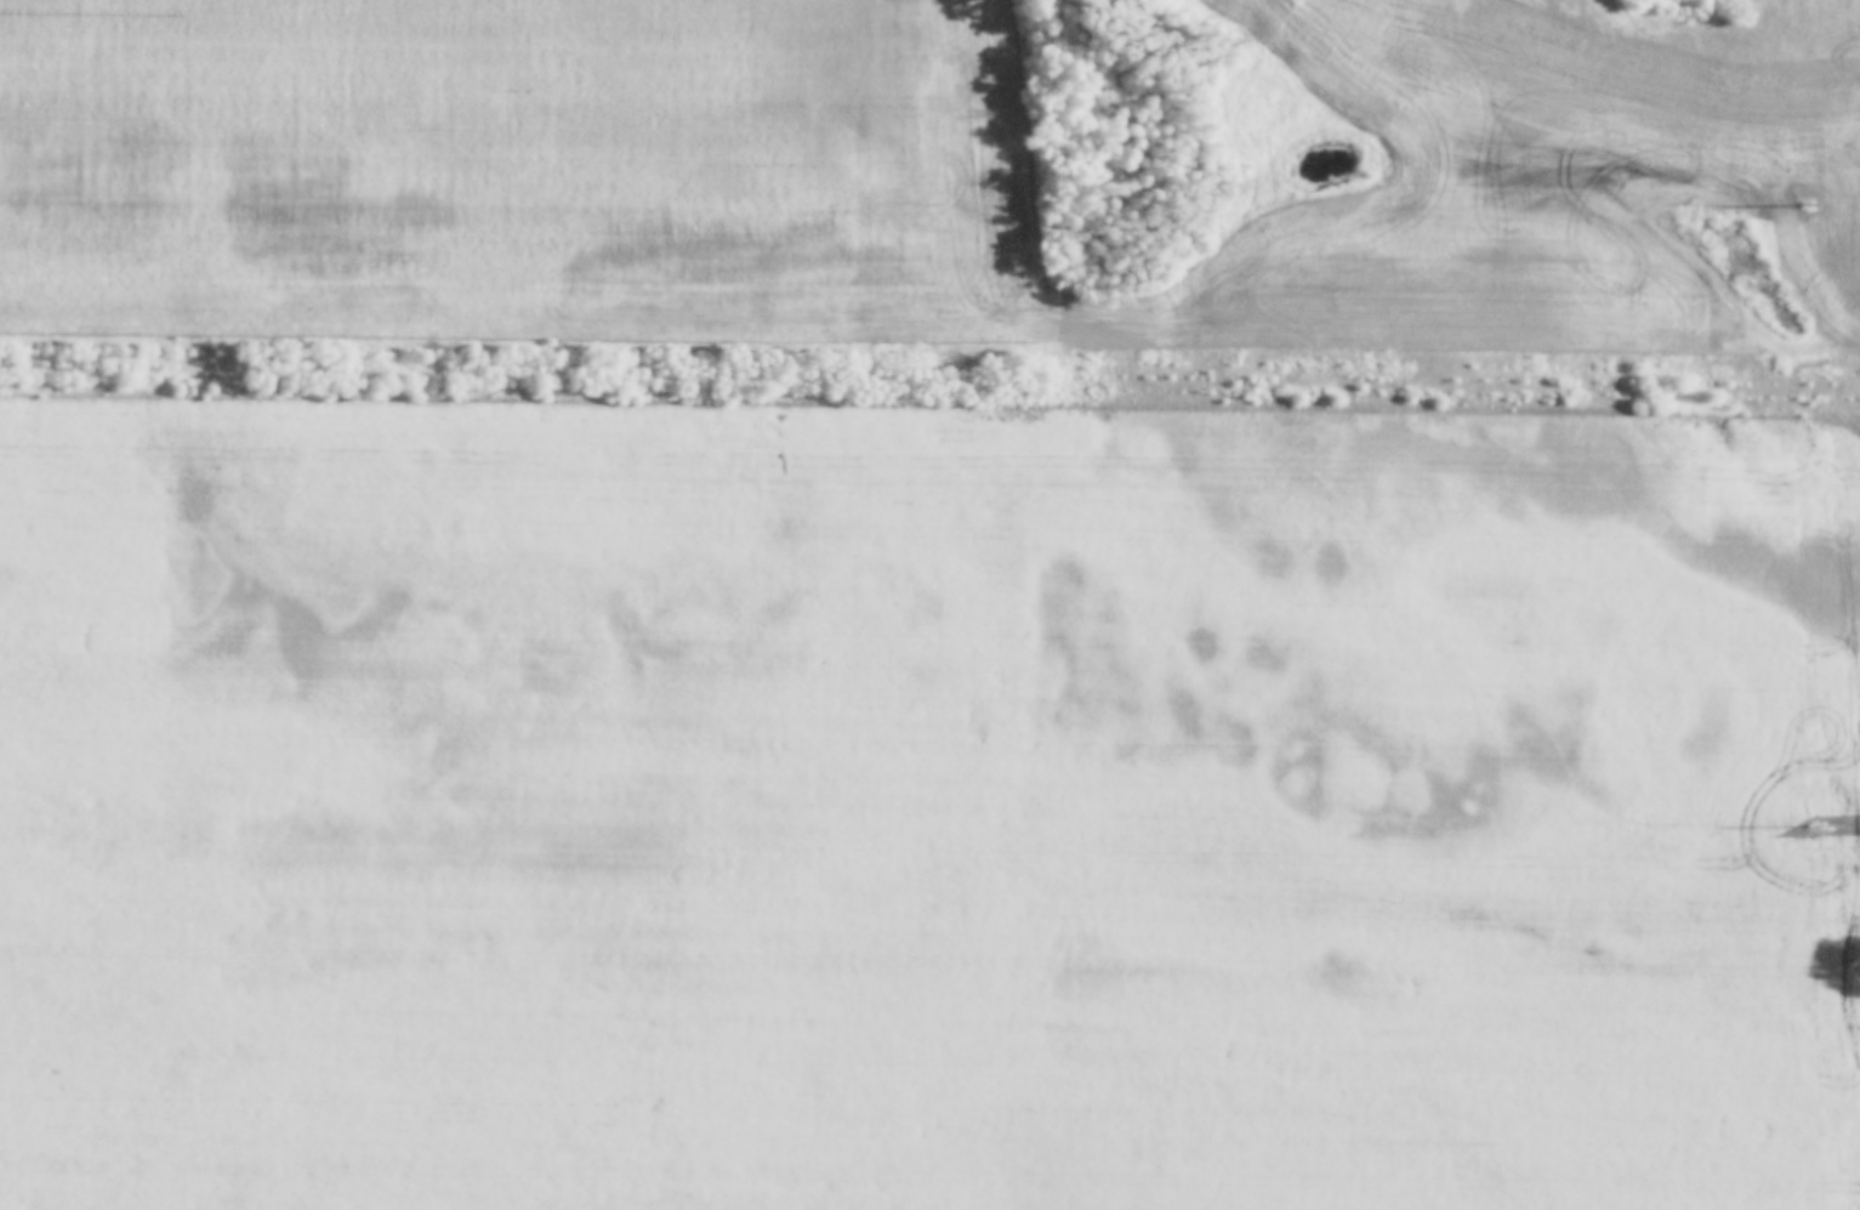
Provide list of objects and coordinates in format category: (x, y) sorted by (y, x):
power tower: (1807, 205)
power tower: (1826, 828)

